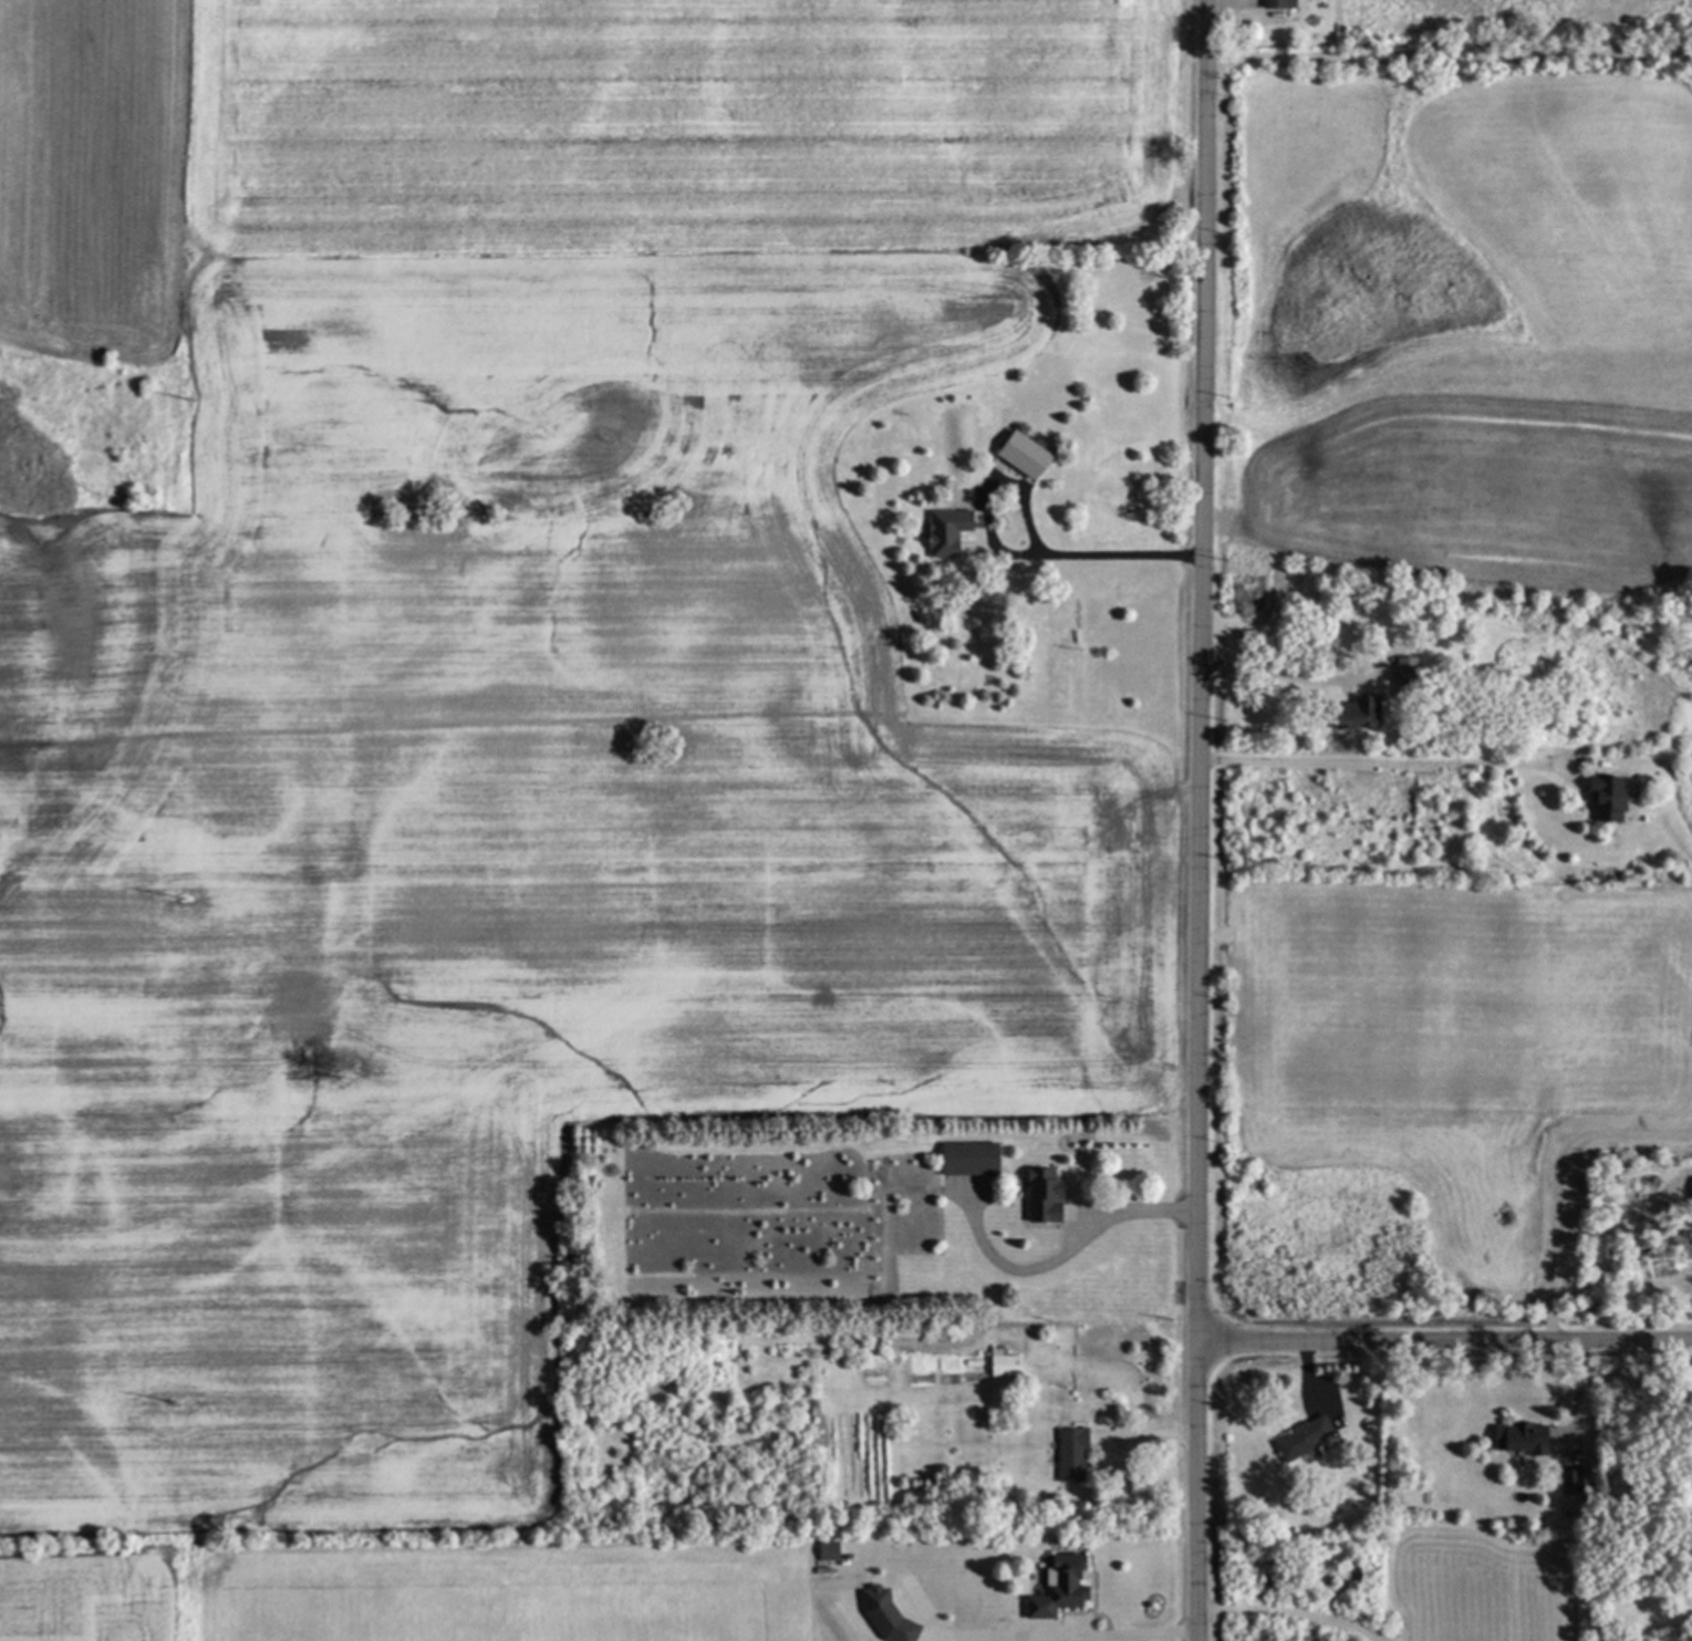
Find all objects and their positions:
building: (1274, 4)
road: (1449, 49)
building: (1028, 456)
building: (959, 499)
building: (945, 531)
road: (1014, 554)
road: (1278, 669)
building: (1399, 669)
building: (1346, 714)
road: (1373, 764)
building: (1601, 799)
road: (1202, 820)
building: (966, 1157)
road: (1555, 1180)
building: (1690, 1191)
building: (1039, 1196)
road: (1138, 1208)
road: (1019, 1269)
road: (1445, 1342)
building: (999, 1361)
road: (1576, 1401)
building: (1299, 1437)
building: (1516, 1437)
building: (1067, 1453)
building: (823, 1550)
building: (1055, 1586)
road: (1288, 1613)
road: (927, 1623)
road: (1122, 1633)

